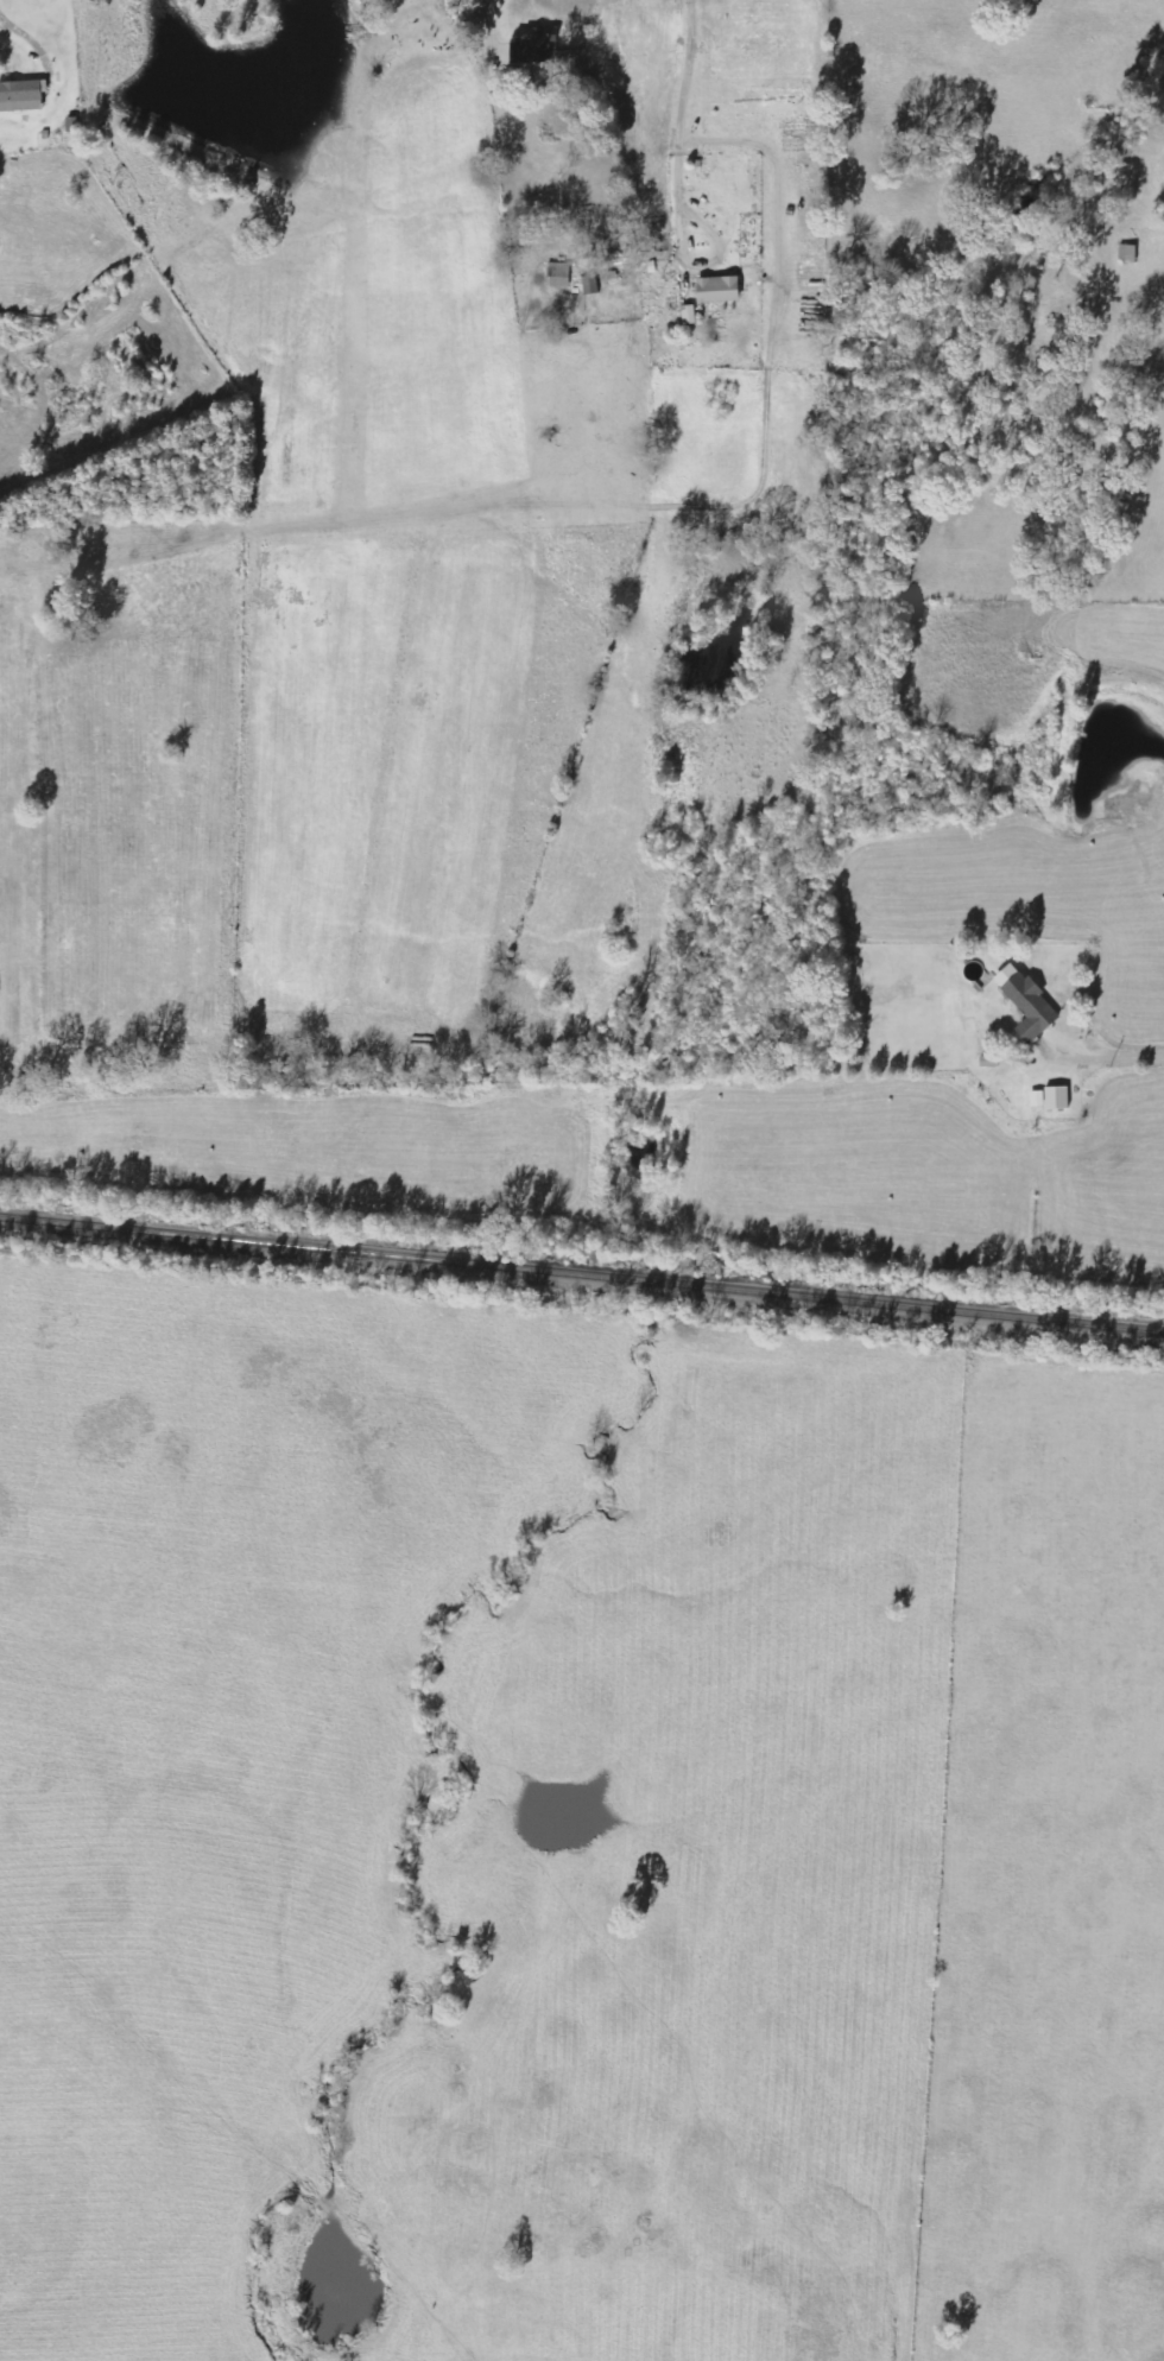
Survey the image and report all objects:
building: (534, 55)
building: (23, 95)
building: (1130, 253)
building: (561, 274)
building: (592, 285)
building: (721, 290)
building: (690, 315)
building: (1030, 1002)
building: (1059, 1099)
railway: (581, 1273)

